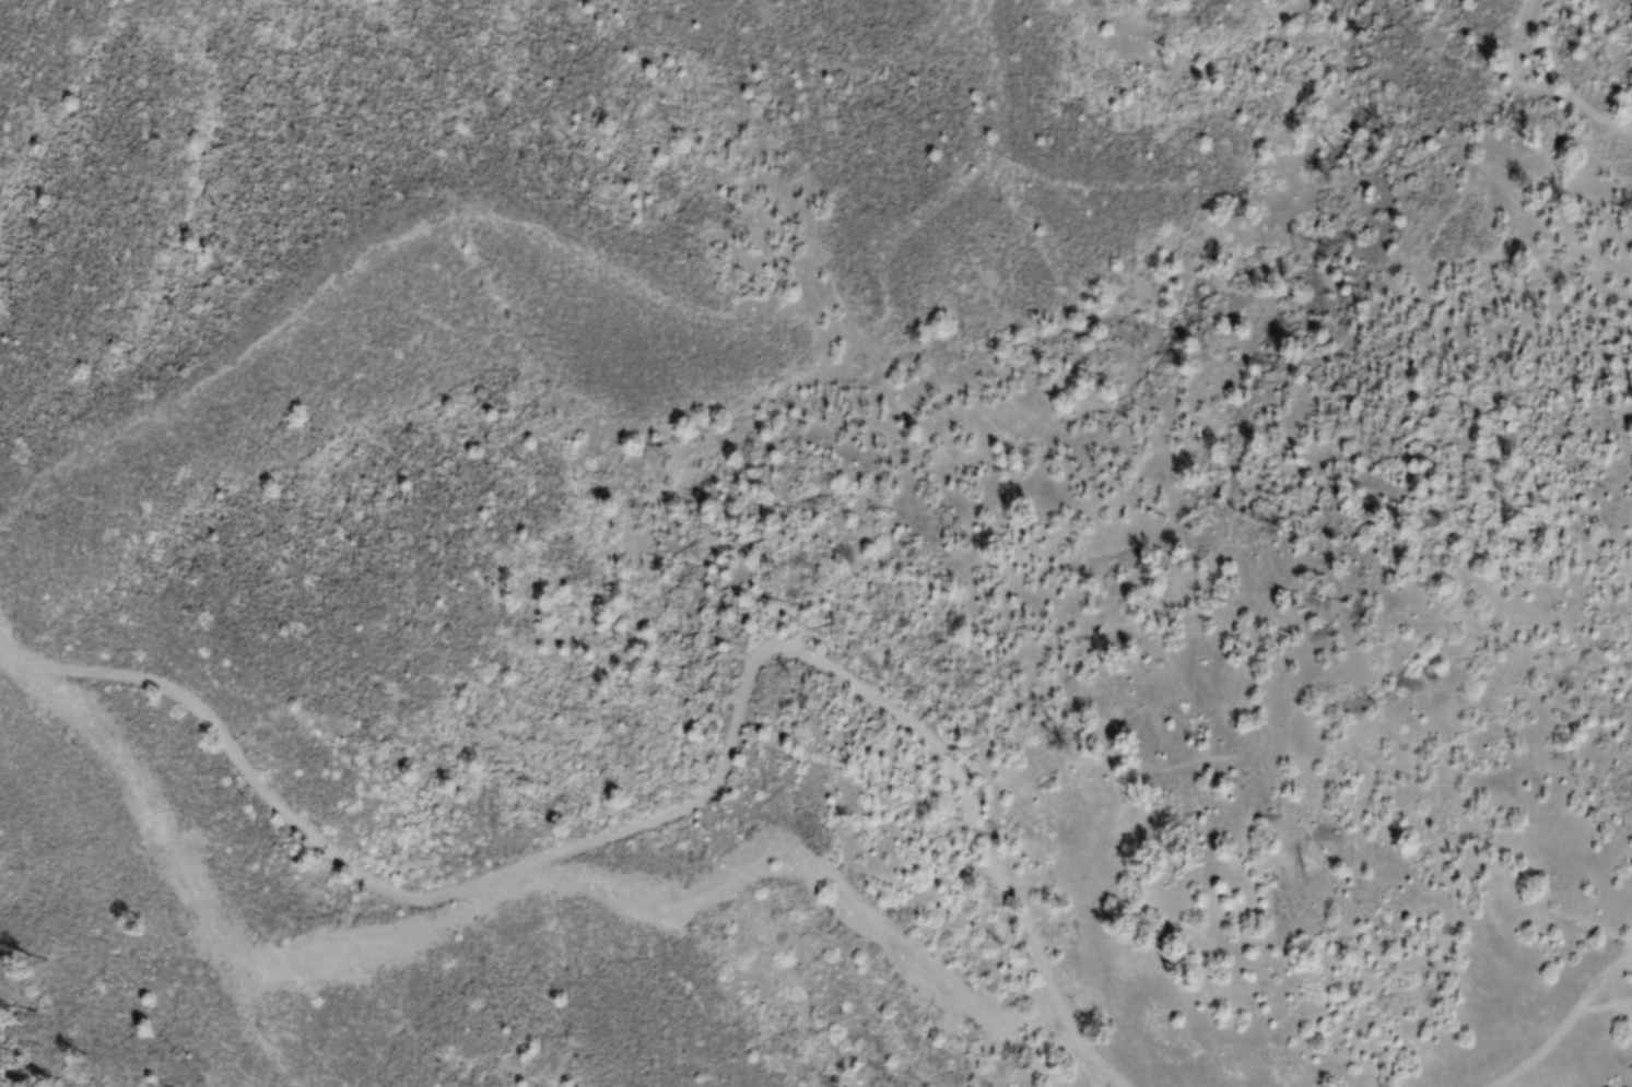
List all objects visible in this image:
road: (685, 819)

